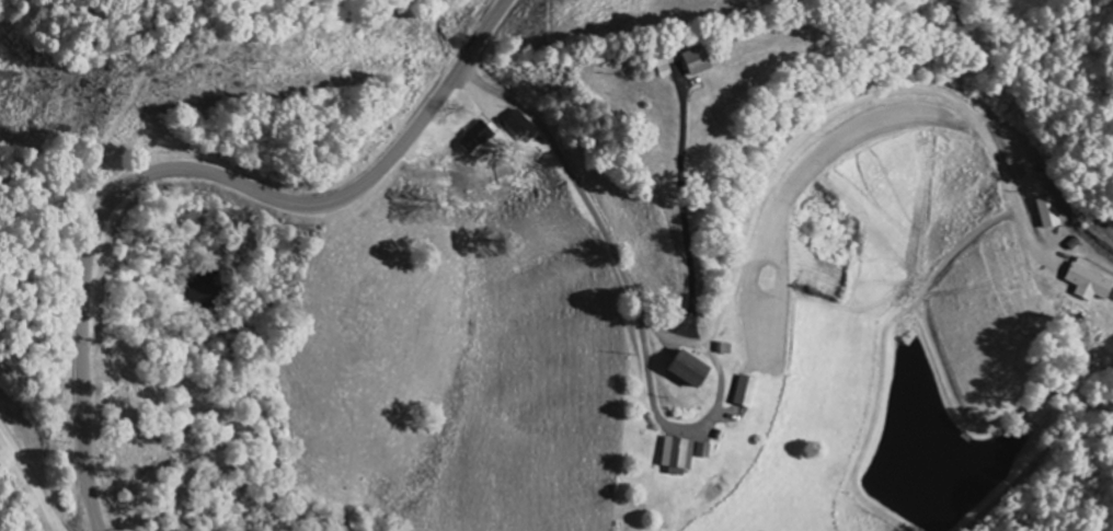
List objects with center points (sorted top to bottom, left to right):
building: (703, 60)
power tower: (269, 67)
power tower: (127, 91)
building: (523, 128)
building: (478, 140)
road: (188, 171)
building: (1049, 213)
road: (558, 272)
building: (1090, 282)
building: (690, 371)
building: (746, 393)
building: (704, 452)
building: (678, 458)
road: (43, 460)

